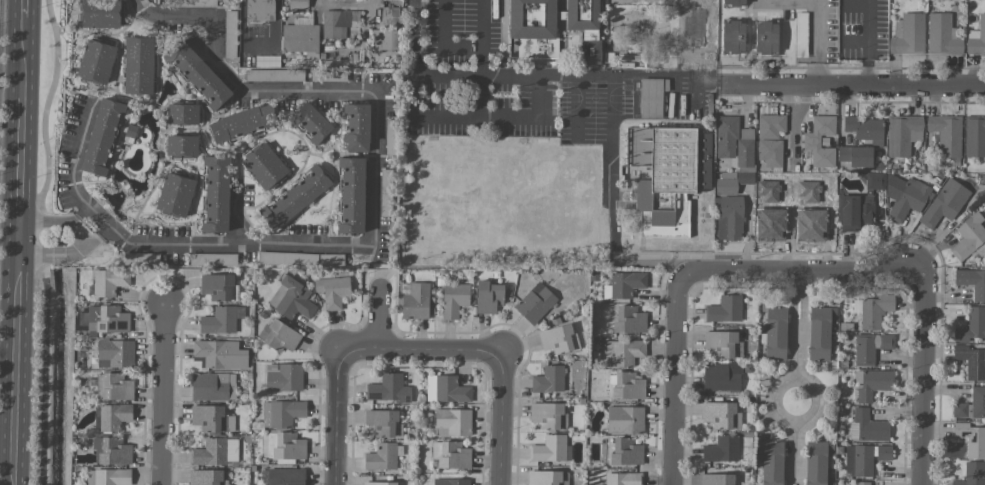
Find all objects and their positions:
road: (353, 2)
building: (192, 3)
building: (733, 3)
building: (297, 4)
building: (259, 11)
building: (99, 14)
building: (338, 23)
building: (584, 27)
building: (533, 28)
building: (229, 34)
building: (908, 35)
building: (942, 35)
building: (732, 37)
road: (481, 38)
building: (765, 38)
building: (976, 38)
building: (300, 40)
building: (385, 40)
road: (816, 42)
road: (864, 42)
road: (413, 59)
building: (95, 62)
building: (138, 66)
building: (197, 75)
building: (273, 75)
road: (856, 85)
building: (651, 97)
road: (539, 98)
building: (182, 114)
building: (242, 123)
building: (310, 123)
building: (356, 127)
building: (865, 129)
building: (902, 134)
building: (945, 134)
building: (100, 137)
building: (390, 137)
building: (726, 137)
building: (974, 137)
building: (769, 139)
building: (811, 142)
building: (181, 146)
building: (744, 148)
building: (855, 156)
road: (373, 165)
building: (264, 167)
road: (69, 173)
building: (671, 181)
building: (874, 181)
building: (725, 187)
building: (385, 193)
building: (215, 194)
building: (351, 195)
building: (174, 196)
building: (904, 197)
building: (295, 198)
building: (944, 203)
building: (866, 210)
building: (848, 213)
building: (731, 217)
road: (53, 223)
road: (84, 229)
building: (968, 237)
road: (24, 238)
road: (18, 242)
road: (55, 248)
building: (287, 258)
road: (798, 274)
building: (108, 282)
building: (972, 282)
building: (625, 284)
road: (796, 284)
building: (218, 287)
building: (332, 291)
building: (488, 297)
building: (291, 299)
building: (453, 300)
building: (414, 302)
building: (534, 303)
building: (724, 309)
road: (790, 309)
road: (803, 309)
building: (872, 311)
road: (383, 319)
building: (104, 320)
building: (221, 320)
building: (629, 320)
building: (971, 325)
building: (775, 334)
building: (818, 334)
building: (278, 336)
building: (557, 339)
building: (722, 345)
building: (869, 348)
road: (419, 351)
road: (796, 352)
building: (623, 353)
building: (114, 354)
building: (219, 355)
building: (971, 362)
building: (283, 377)
building: (721, 377)
road: (917, 378)
building: (548, 380)
road: (675, 381)
road: (806, 384)
building: (871, 384)
building: (627, 386)
building: (115, 387)
building: (212, 387)
building: (388, 389)
building: (445, 390)
road: (164, 392)
building: (971, 405)
building: (281, 413)
building: (720, 415)
building: (548, 416)
building: (113, 417)
building: (210, 418)
road: (335, 418)
road: (498, 418)
building: (624, 420)
building: (453, 421)
building: (381, 423)
building: (867, 427)
building: (971, 439)
building: (285, 446)
building: (550, 449)
building: (721, 449)
building: (111, 451)
building: (214, 452)
building: (625, 452)
road: (793, 452)
building: (450, 455)
building: (381, 457)
building: (863, 459)
building: (771, 463)
building: (815, 463)
building: (971, 474)
building: (285, 476)
building: (107, 477)
building: (206, 477)
building: (547, 478)
building: (622, 479)
building: (716, 479)
building: (450, 482)
building: (378, 483)
building: (861, 483)

